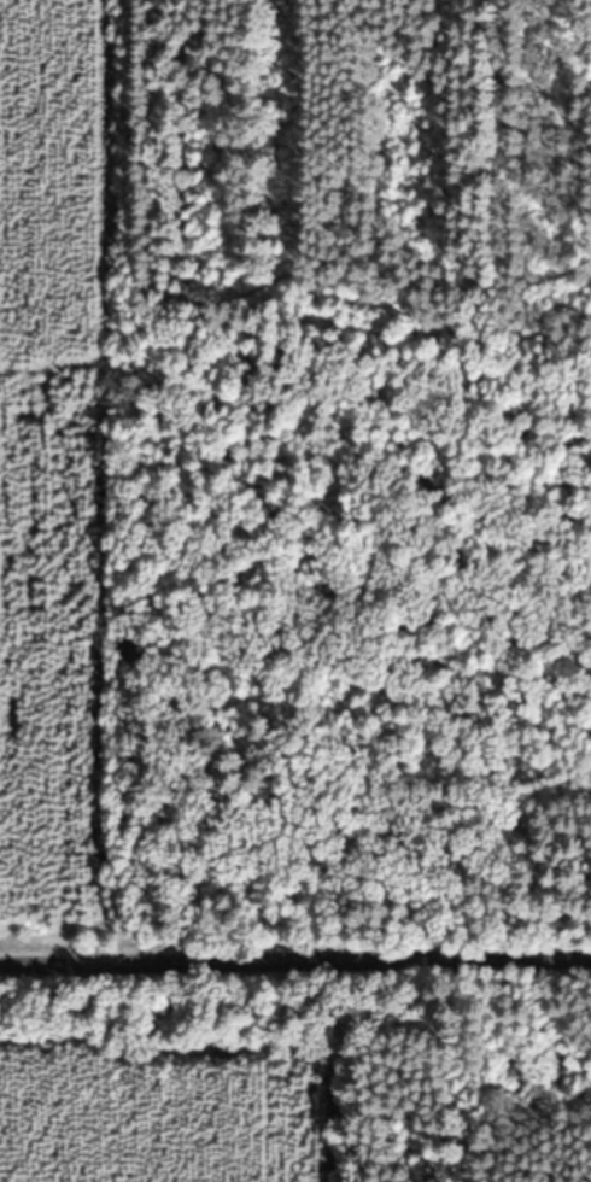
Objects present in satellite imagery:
road: (294, 958)

